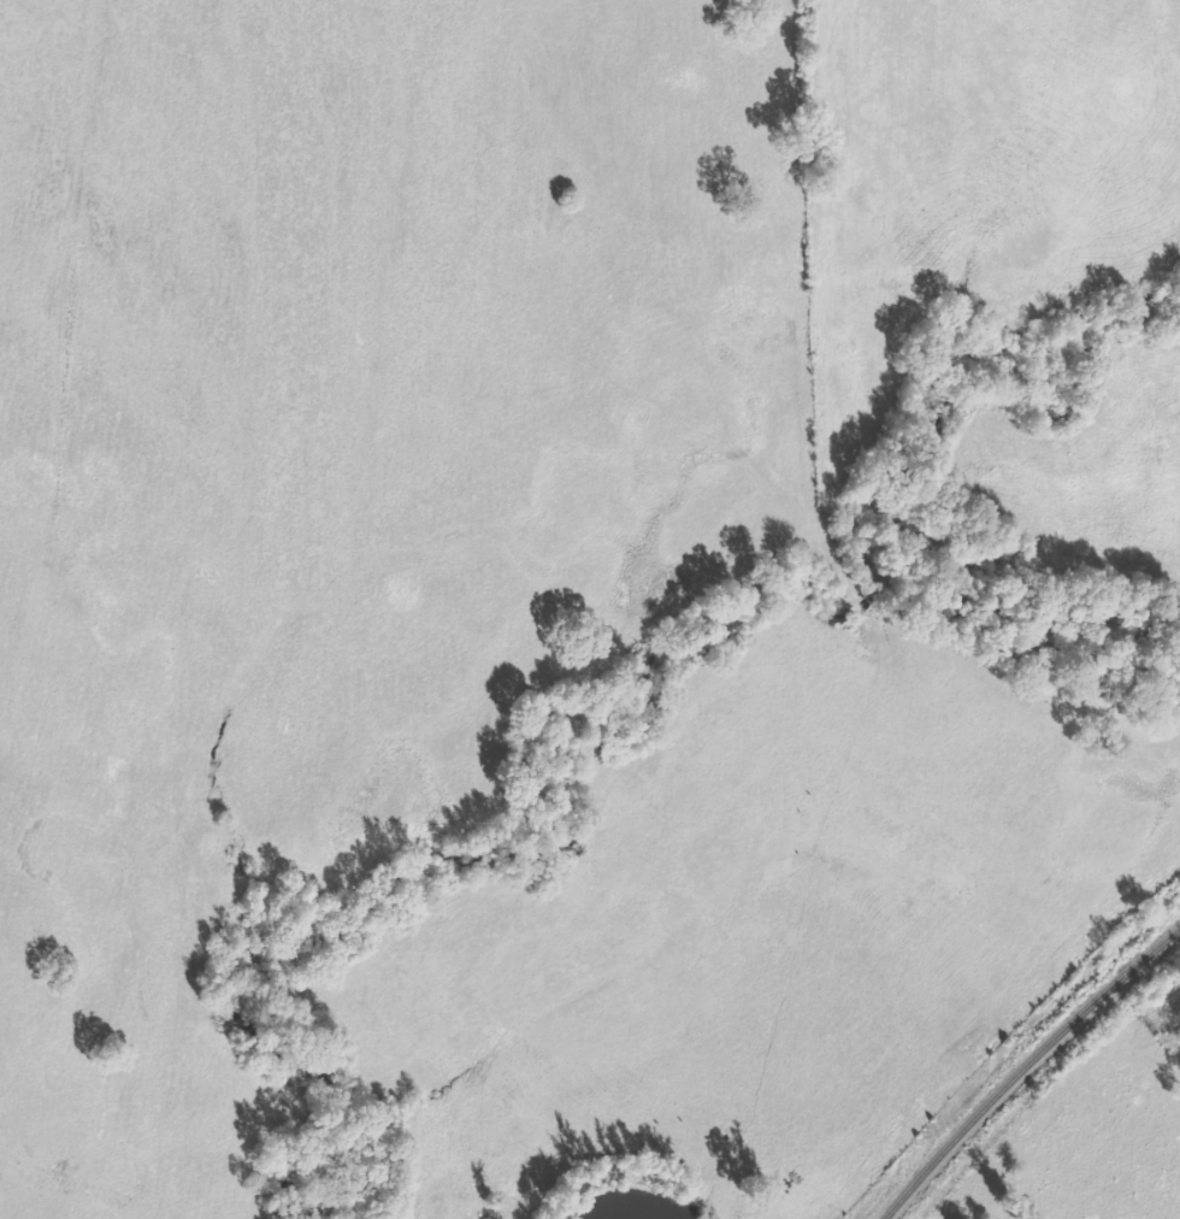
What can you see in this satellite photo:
railway: (1022, 1064)

